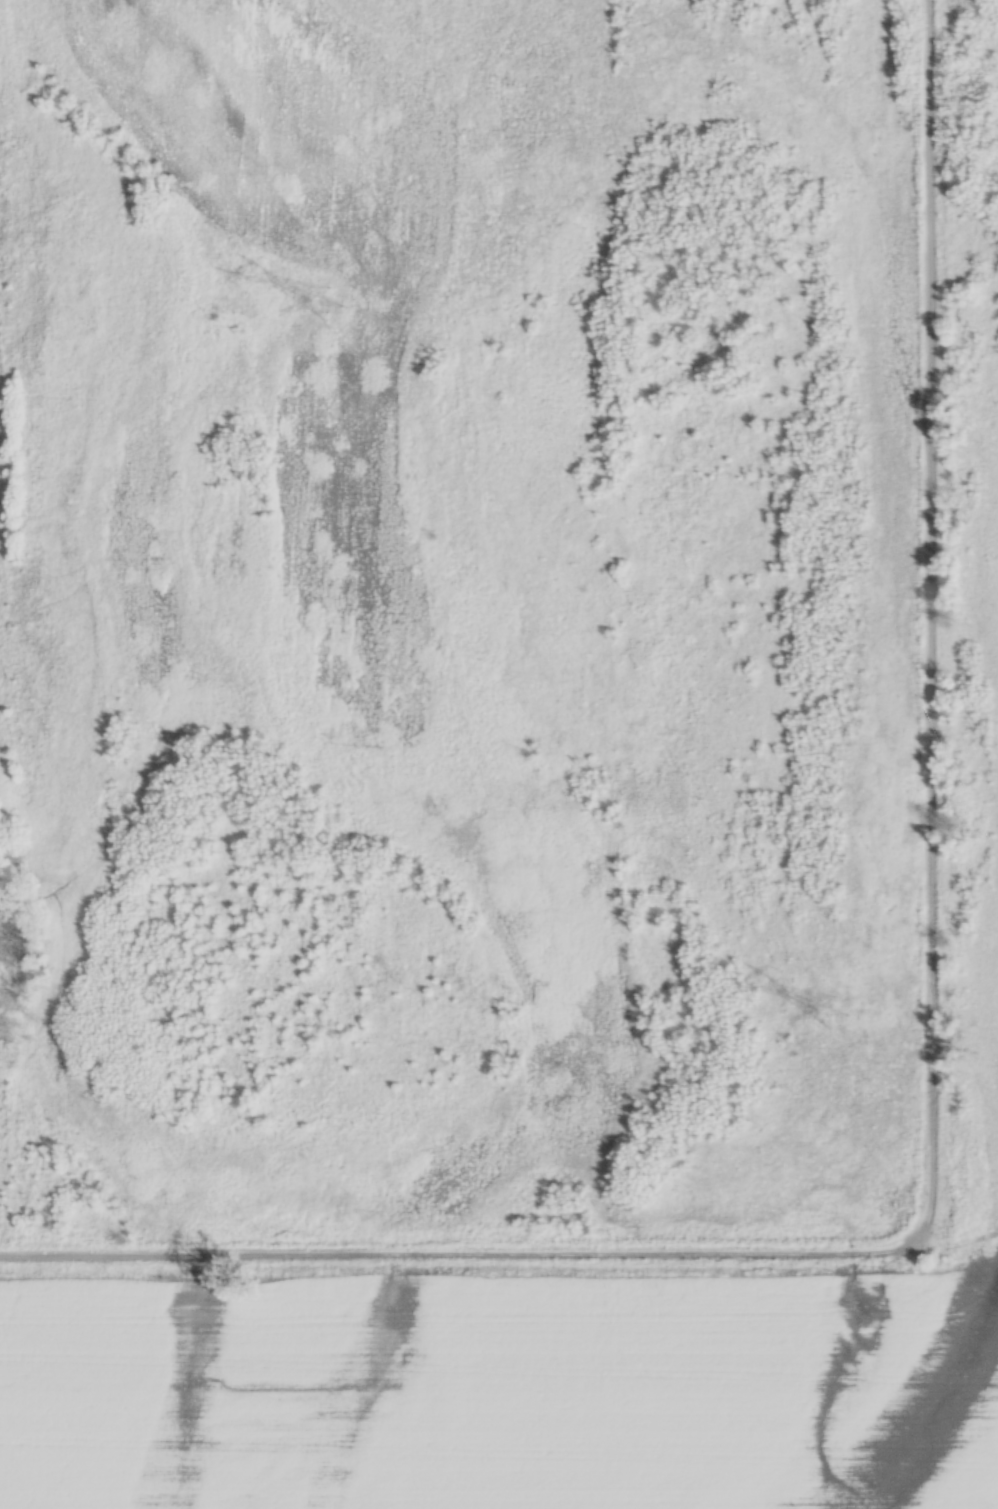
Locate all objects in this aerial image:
power tower: (330, 308)
road: (934, 635)
power tower: (834, 1012)
road: (462, 1261)

